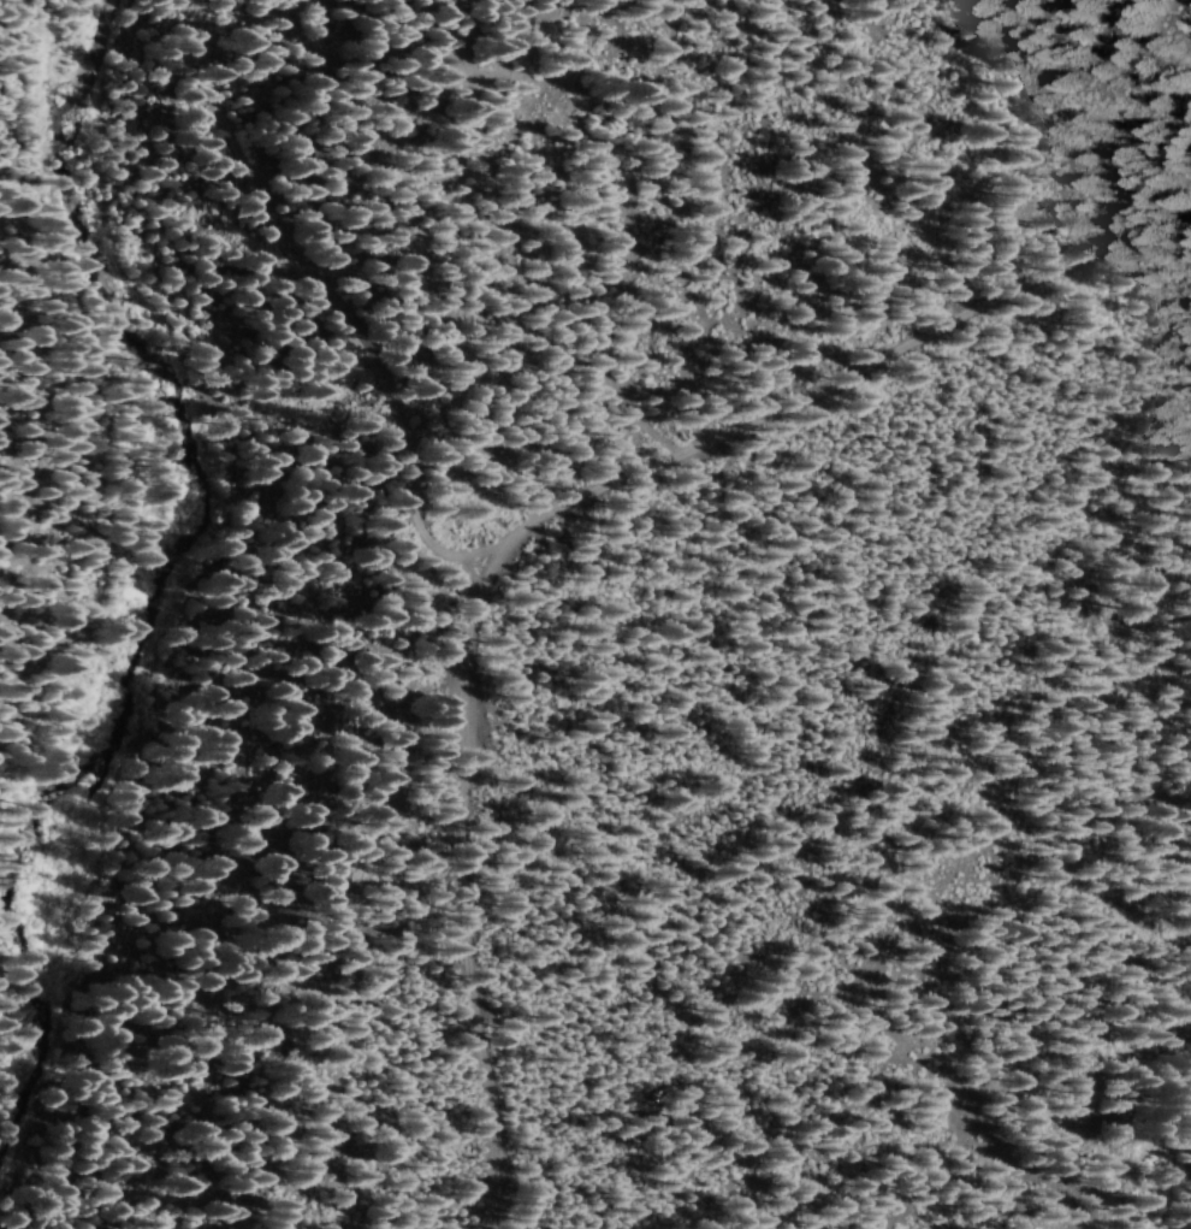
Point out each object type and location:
road: (647, 273)
road: (546, 543)
road: (486, 898)
road: (219, 1209)

